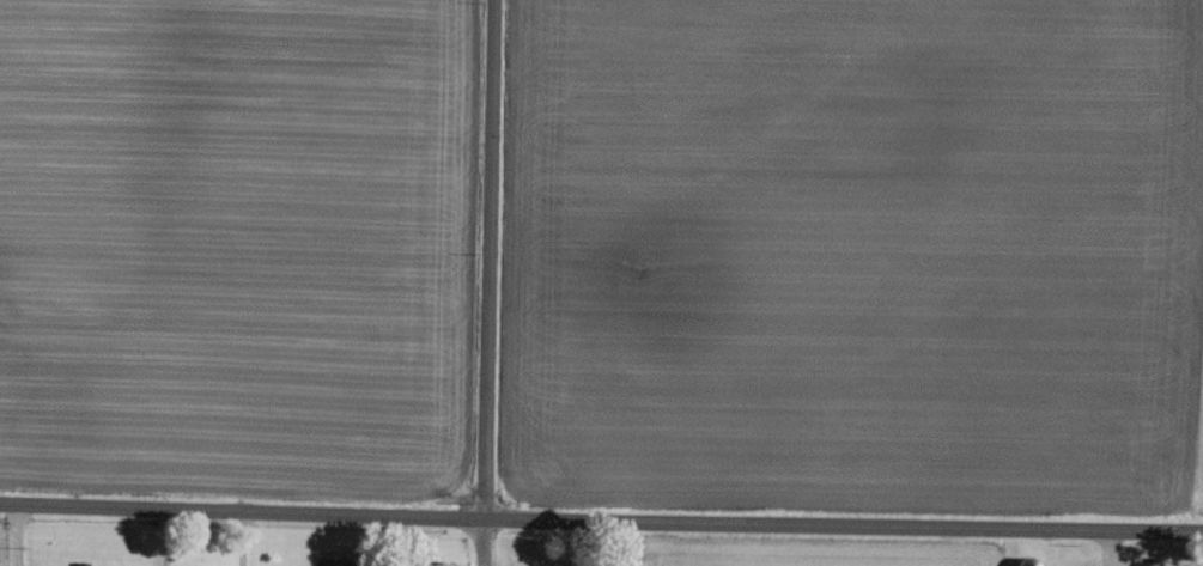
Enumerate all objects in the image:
road: (488, 282)
road: (601, 523)
road: (22, 535)
road: (168, 537)
road: (245, 538)
building: (1031, 561)
building: (81, 562)
building: (60, 565)

